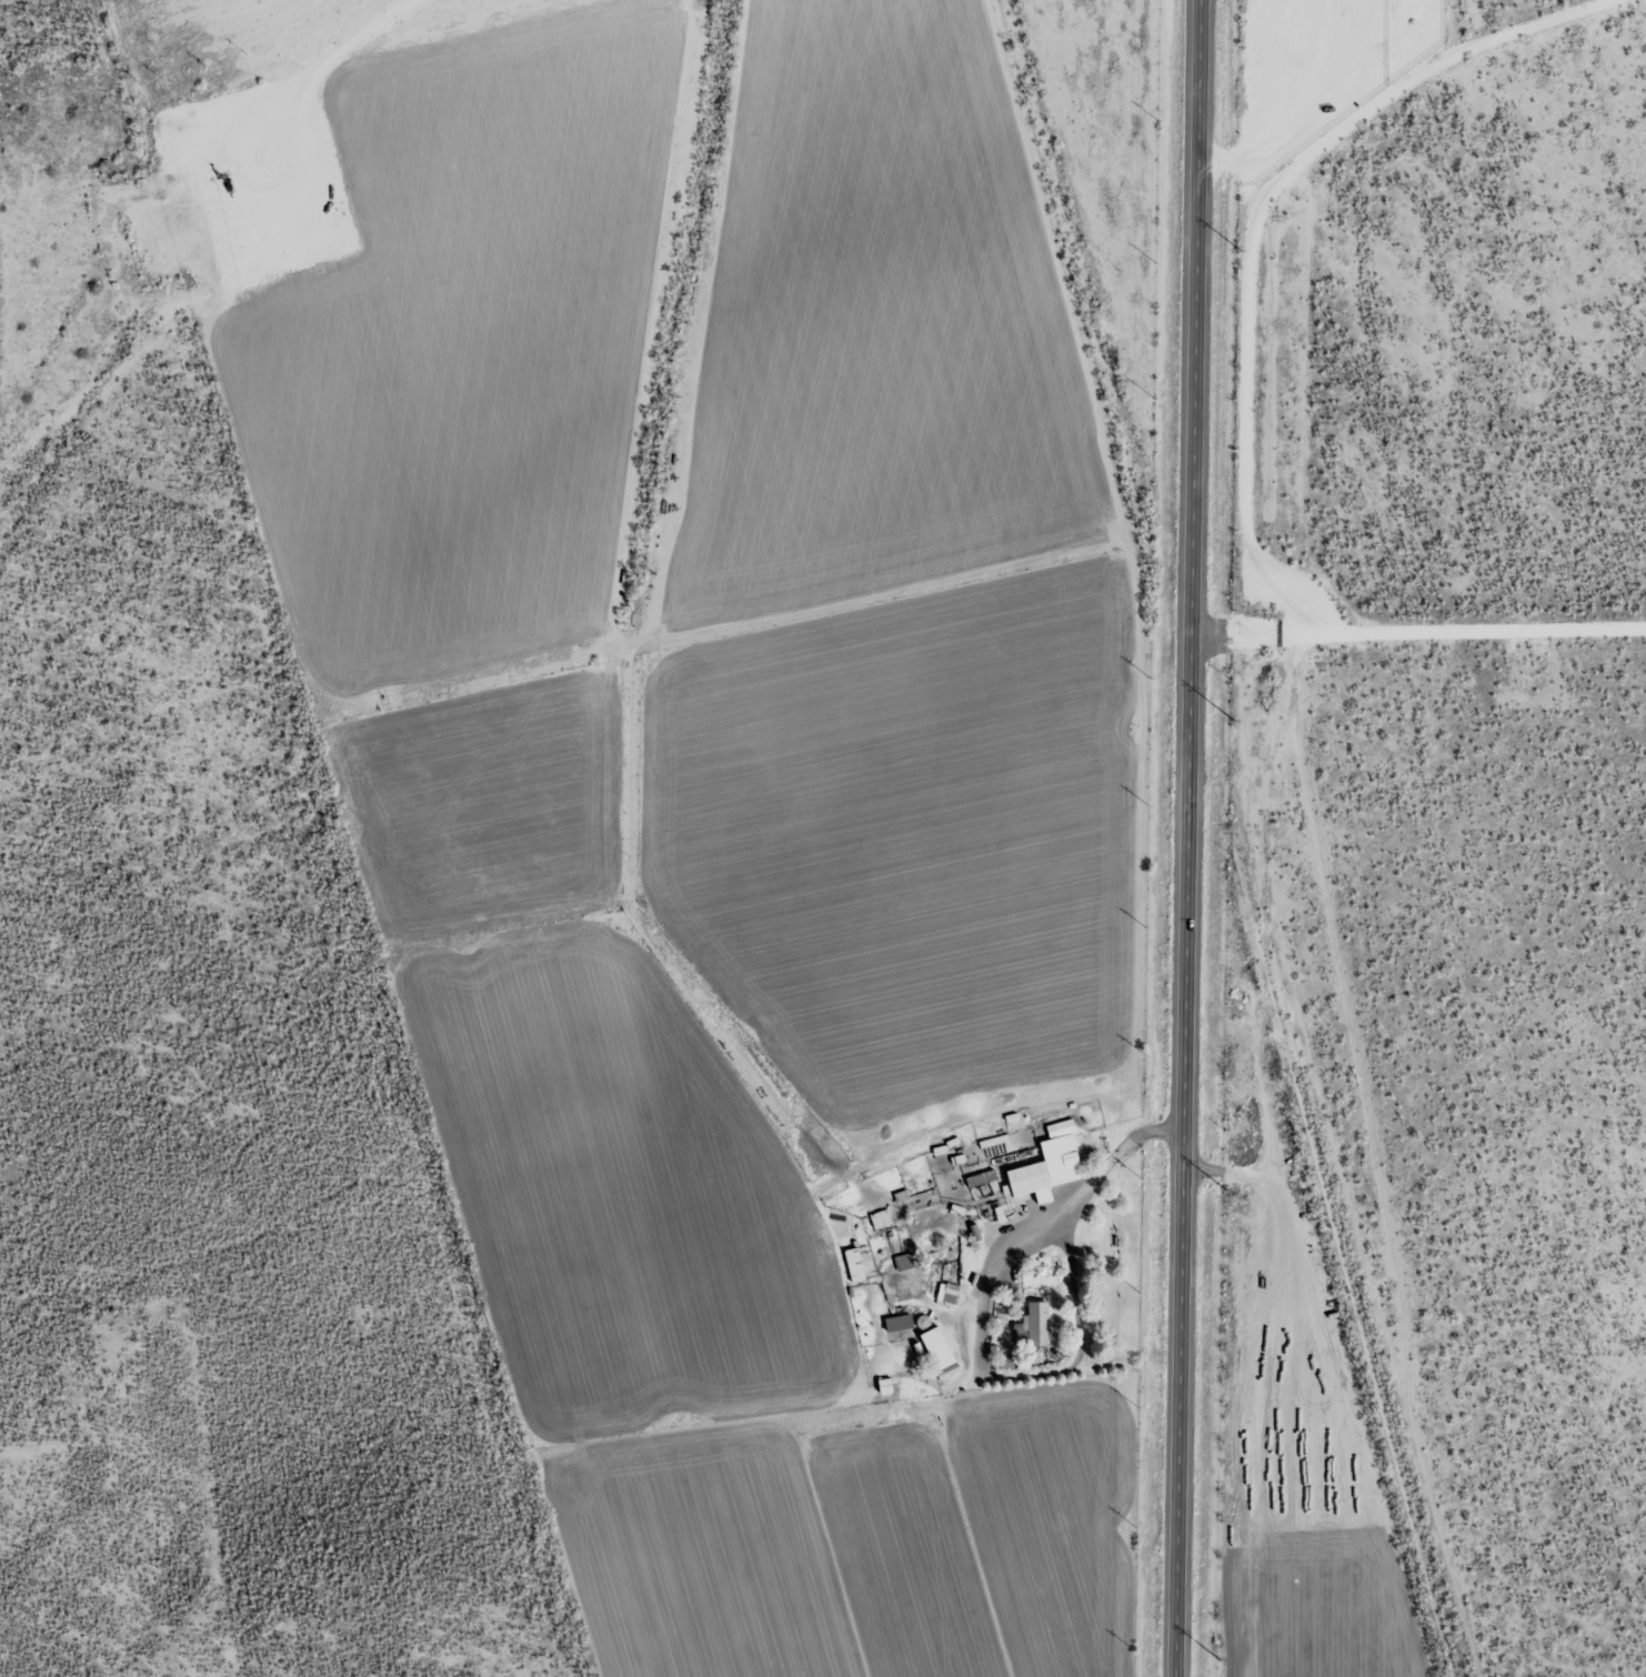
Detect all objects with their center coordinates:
power tower: (1241, 252)
power tower: (1234, 720)
road: (1191, 838)
building: (1047, 1166)
building: (981, 1179)
power tower: (1228, 1191)
building: (854, 1266)
building: (947, 1294)
building: (900, 1323)
building: (1034, 1327)
building: (941, 1353)
power tower: (1221, 1660)

